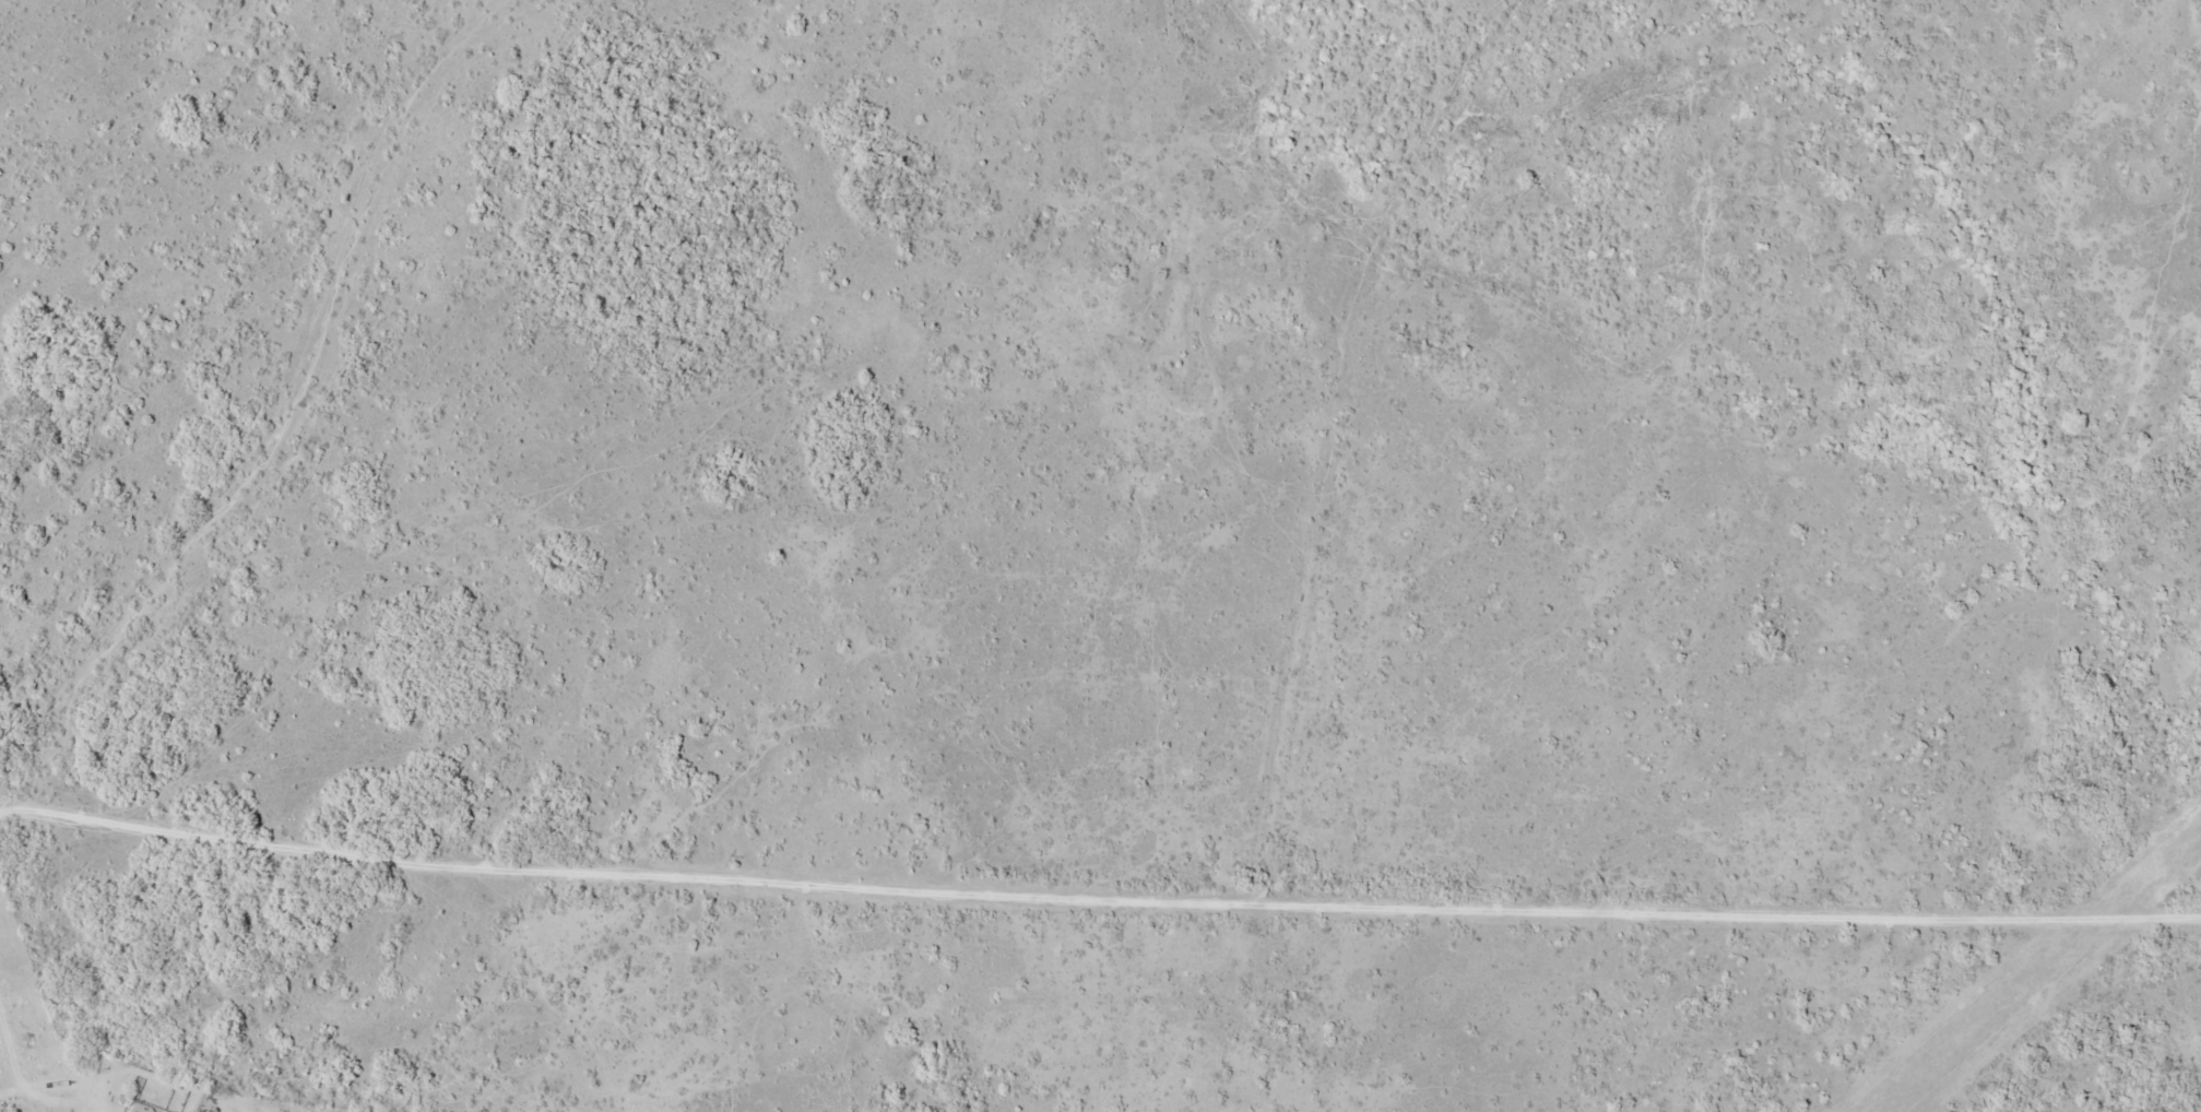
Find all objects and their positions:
road: (283, 428)
road: (1336, 430)
road: (815, 876)
road: (1916, 939)
road: (1630, 1024)

